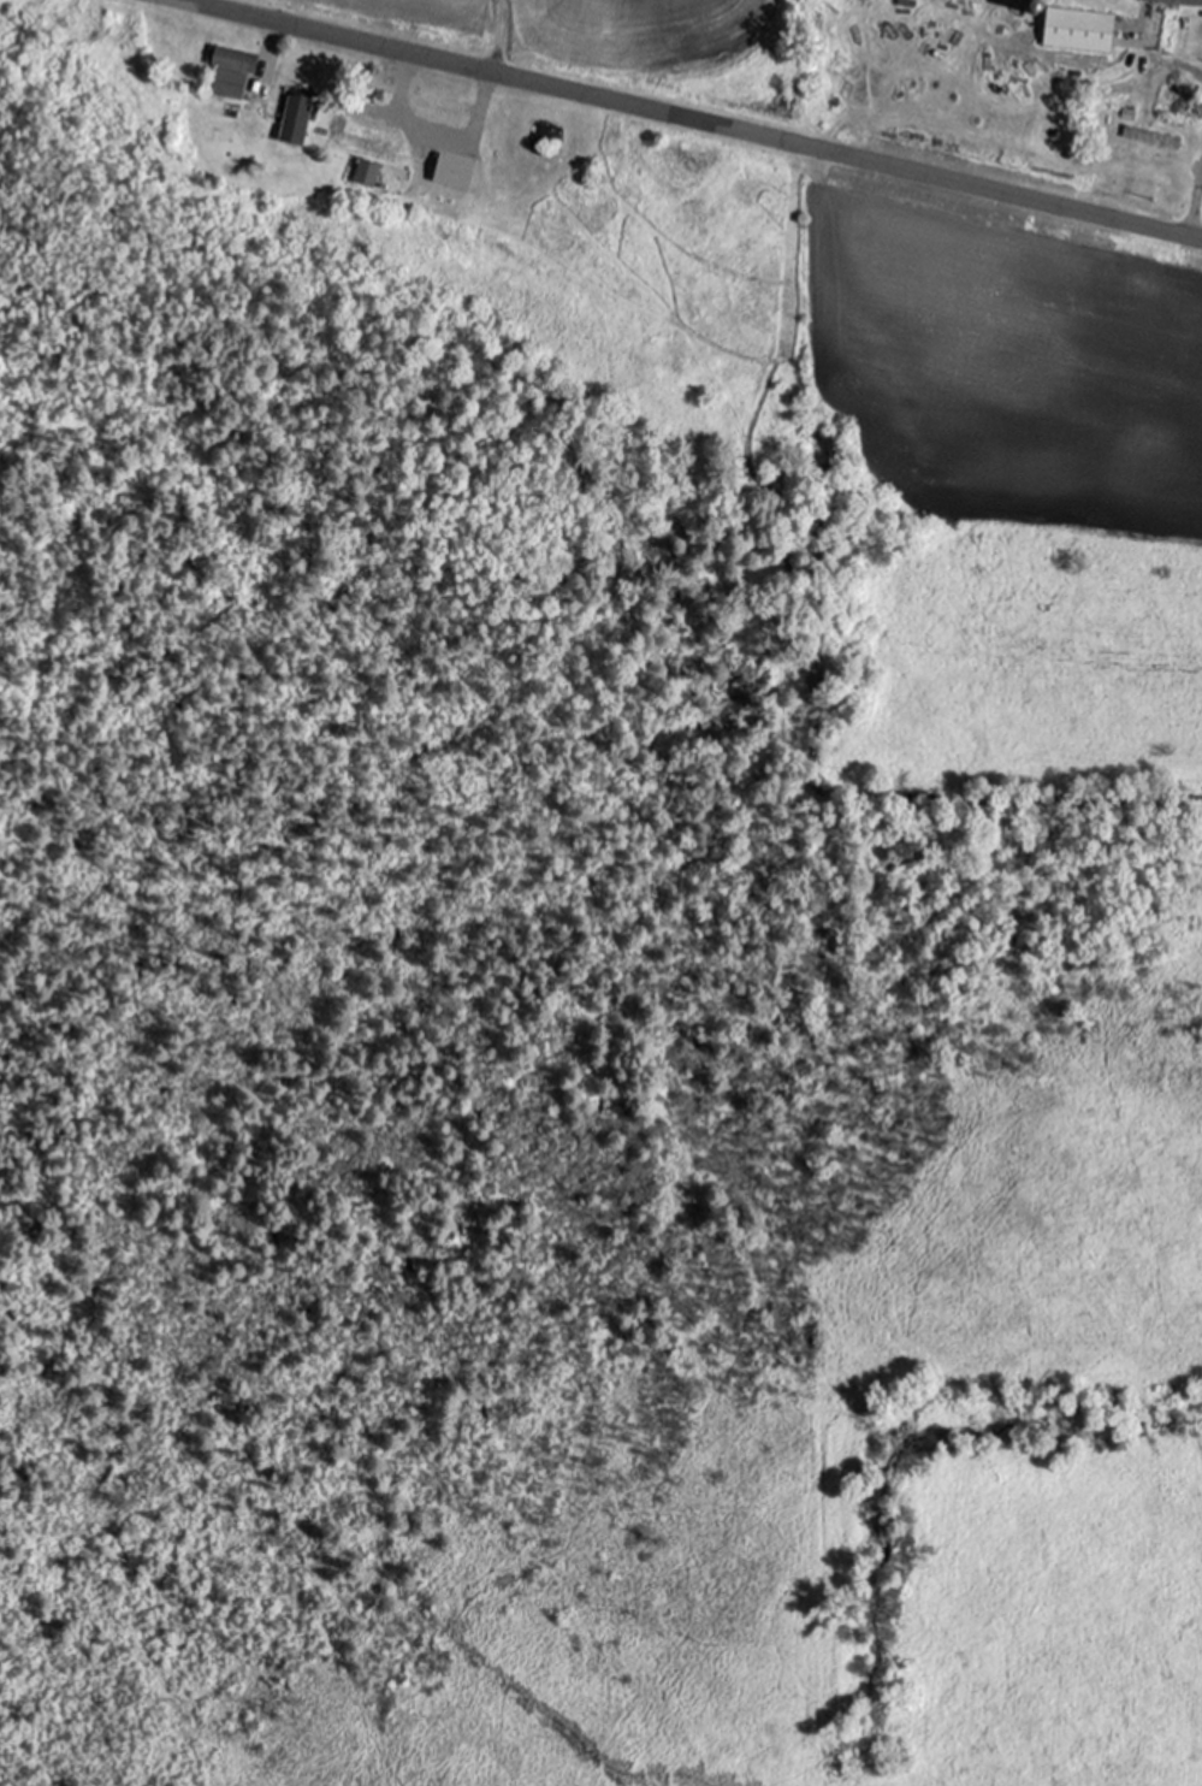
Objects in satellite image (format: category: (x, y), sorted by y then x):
building: (1183, 1)
building: (1077, 29)
building: (230, 71)
building: (308, 85)
road: (679, 122)
building: (1147, 136)
building: (438, 137)
building: (367, 143)
building: (365, 172)
road: (1195, 211)

